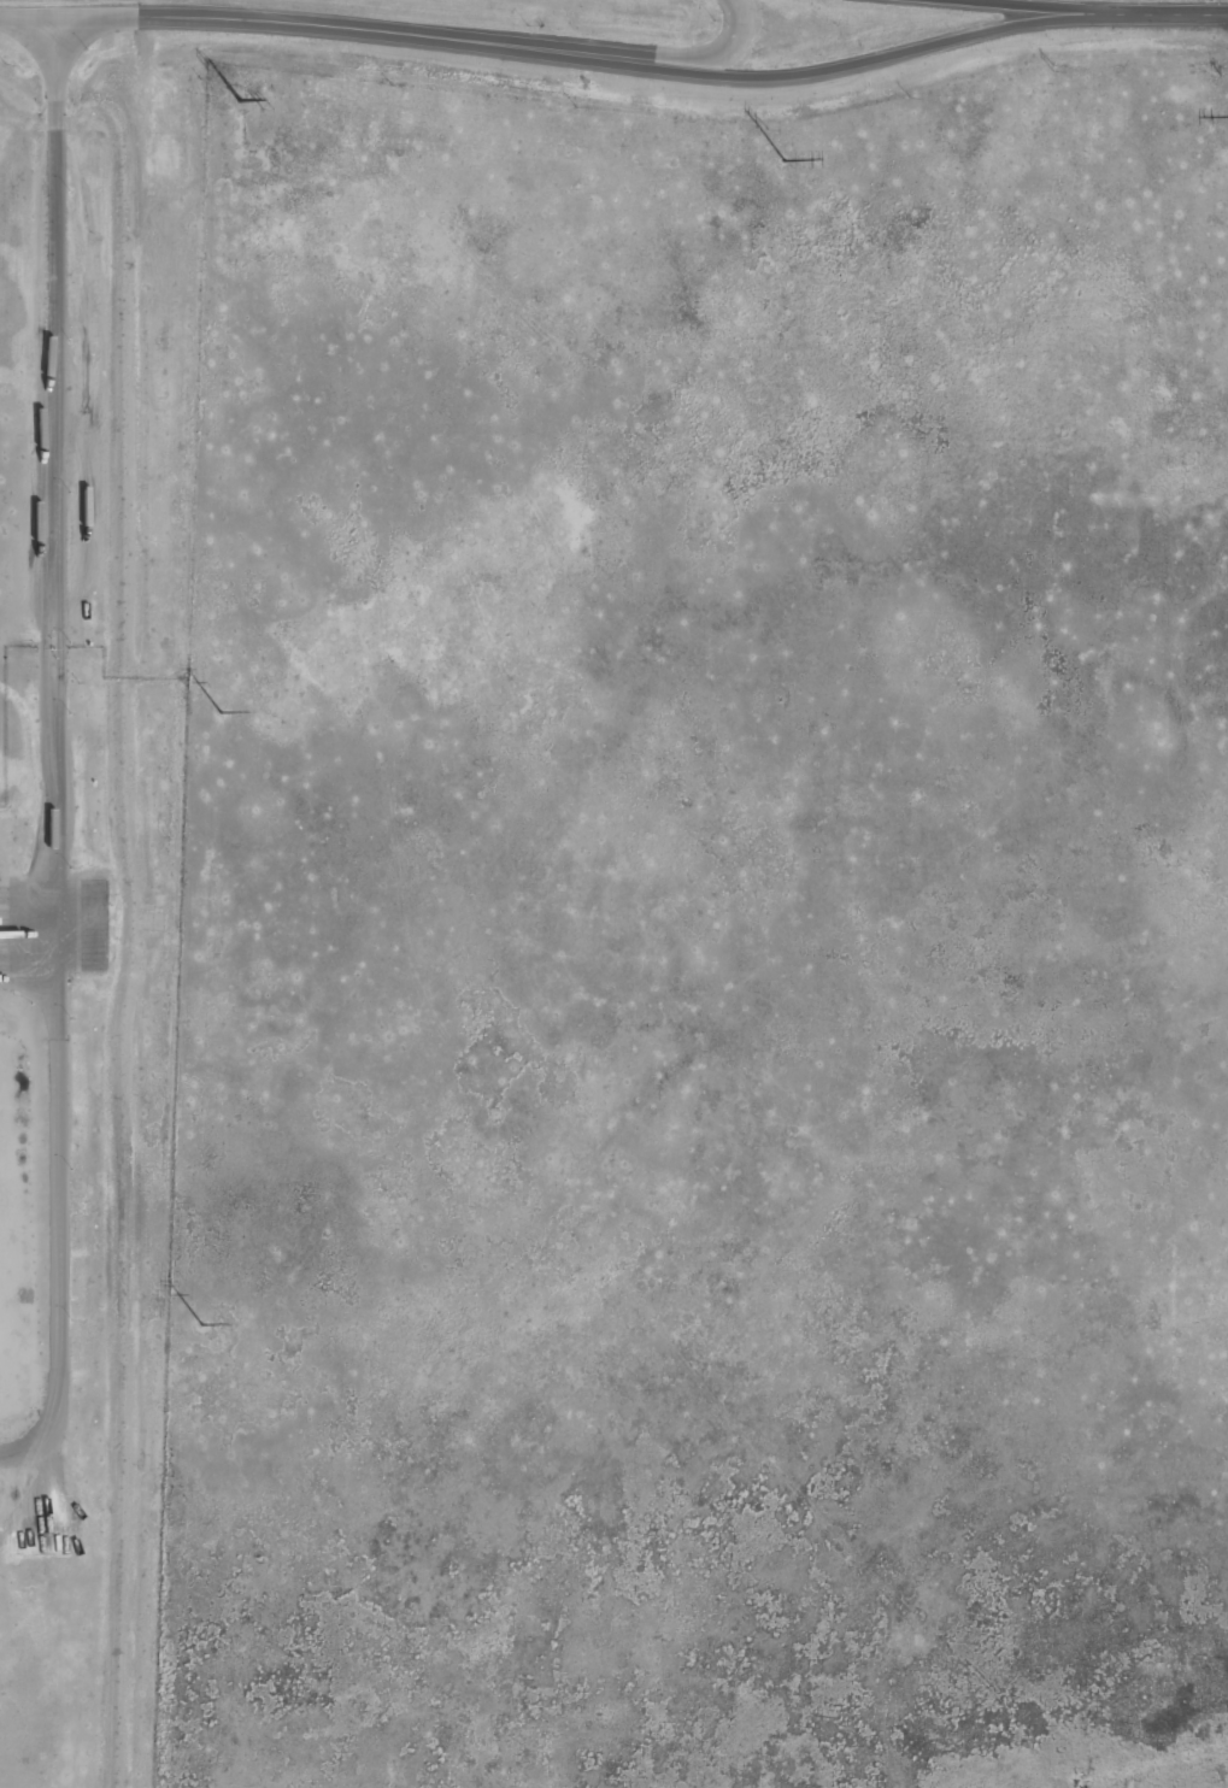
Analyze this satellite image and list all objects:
road: (1076, 5)
road: (1186, 12)
road: (346, 23)
road: (734, 47)
road: (917, 48)
power tower: (240, 100)
power tower: (783, 160)
power tower: (223, 714)
road: (57, 749)
power tower: (202, 1325)

